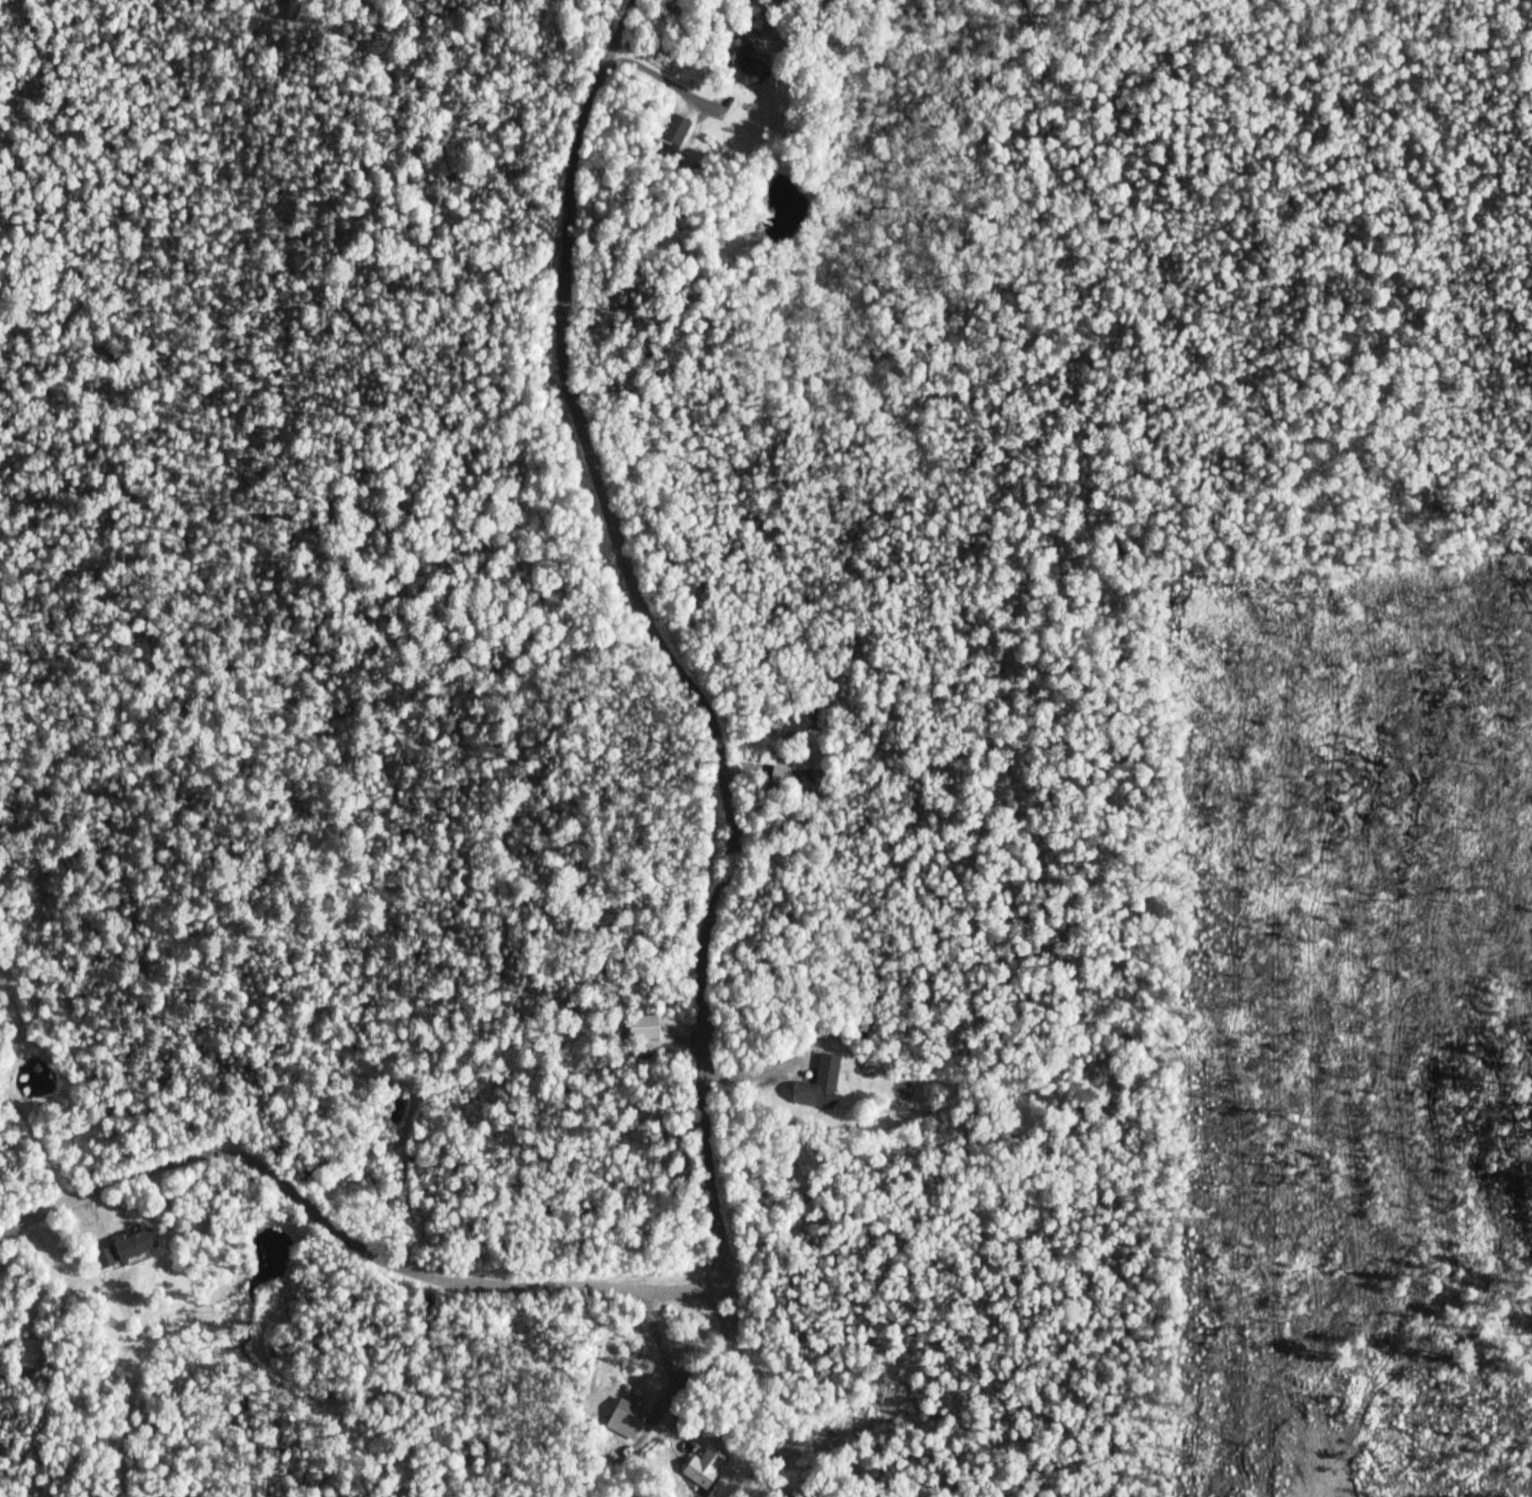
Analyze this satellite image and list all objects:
building: (746, 60)
building: (676, 129)
building: (778, 772)
road: (699, 1011)
building: (644, 1026)
building: (827, 1076)
building: (121, 1245)
building: (628, 1416)
building: (706, 1466)

